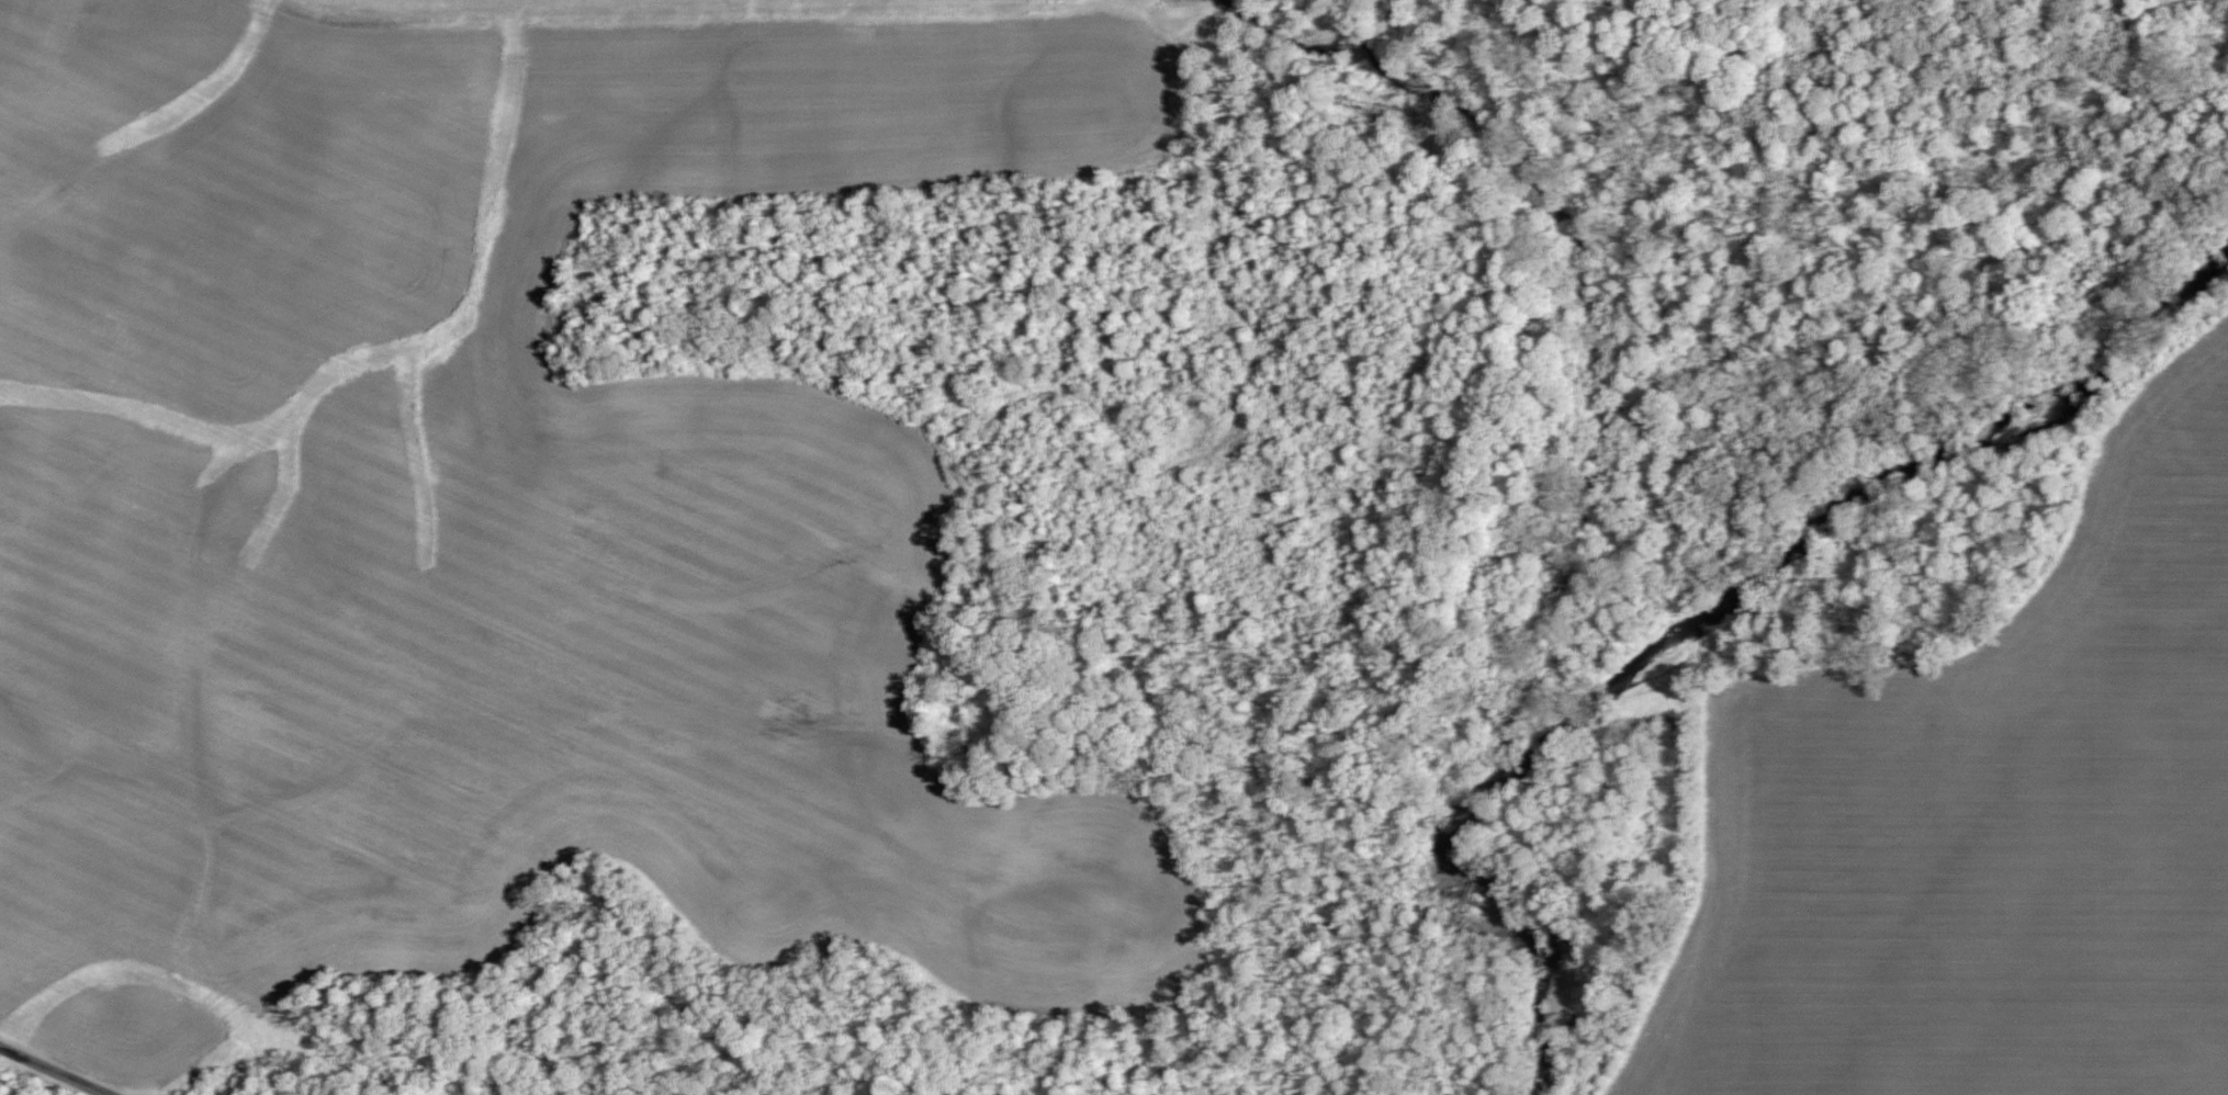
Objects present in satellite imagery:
road: (53, 1070)

